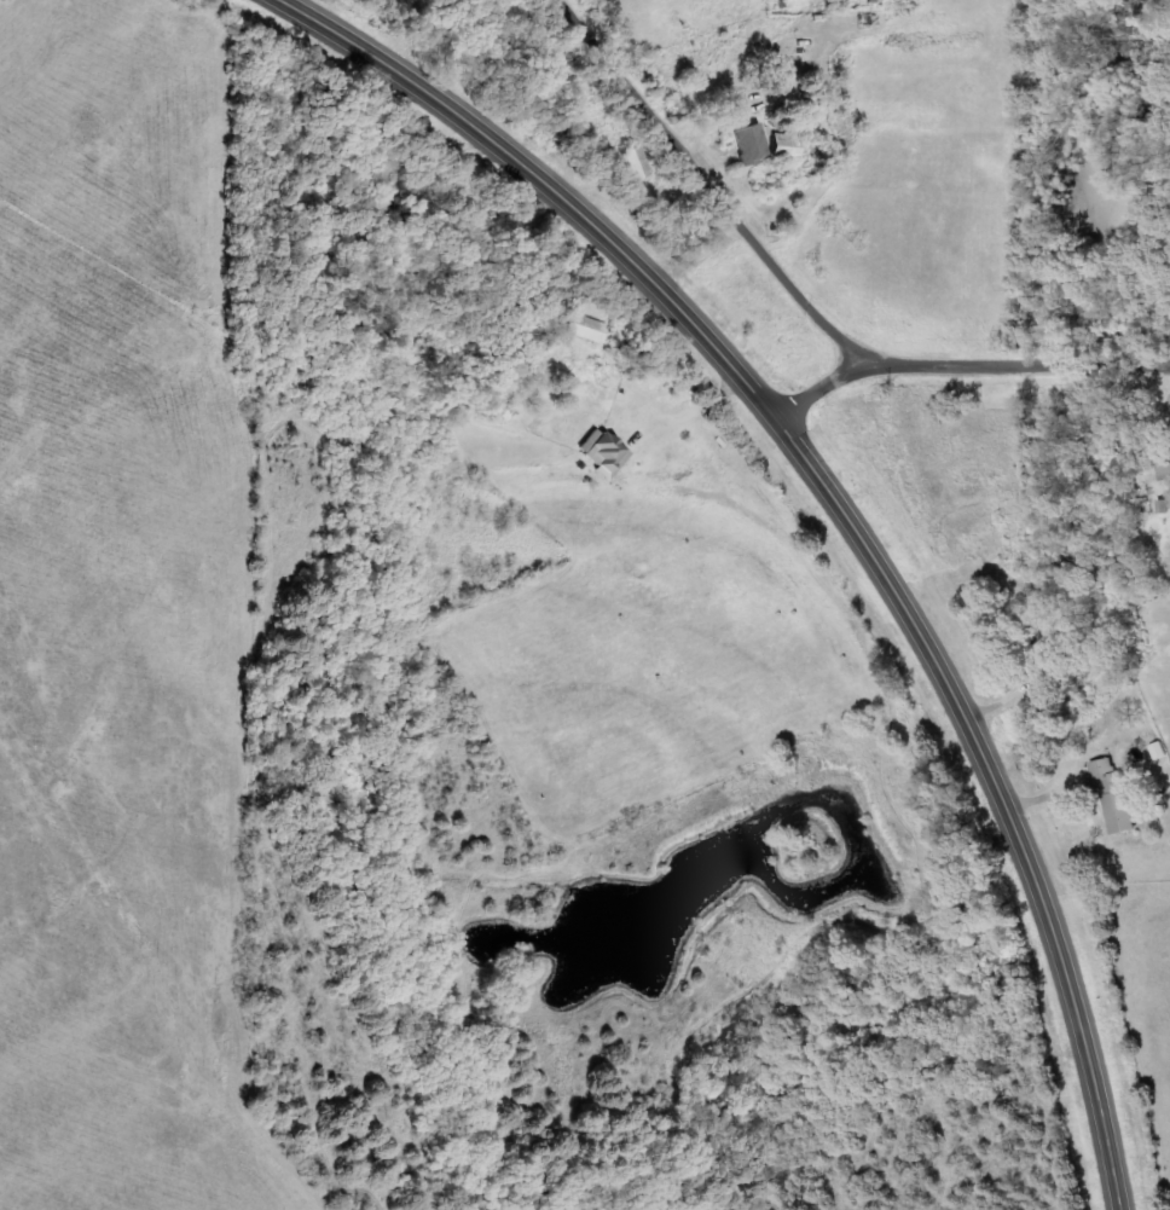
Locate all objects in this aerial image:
building: (753, 141)
building: (790, 141)
building: (641, 163)
road: (812, 299)
building: (590, 329)
road: (832, 384)
building: (607, 453)
building: (1166, 463)
road: (853, 508)
building: (1118, 797)

